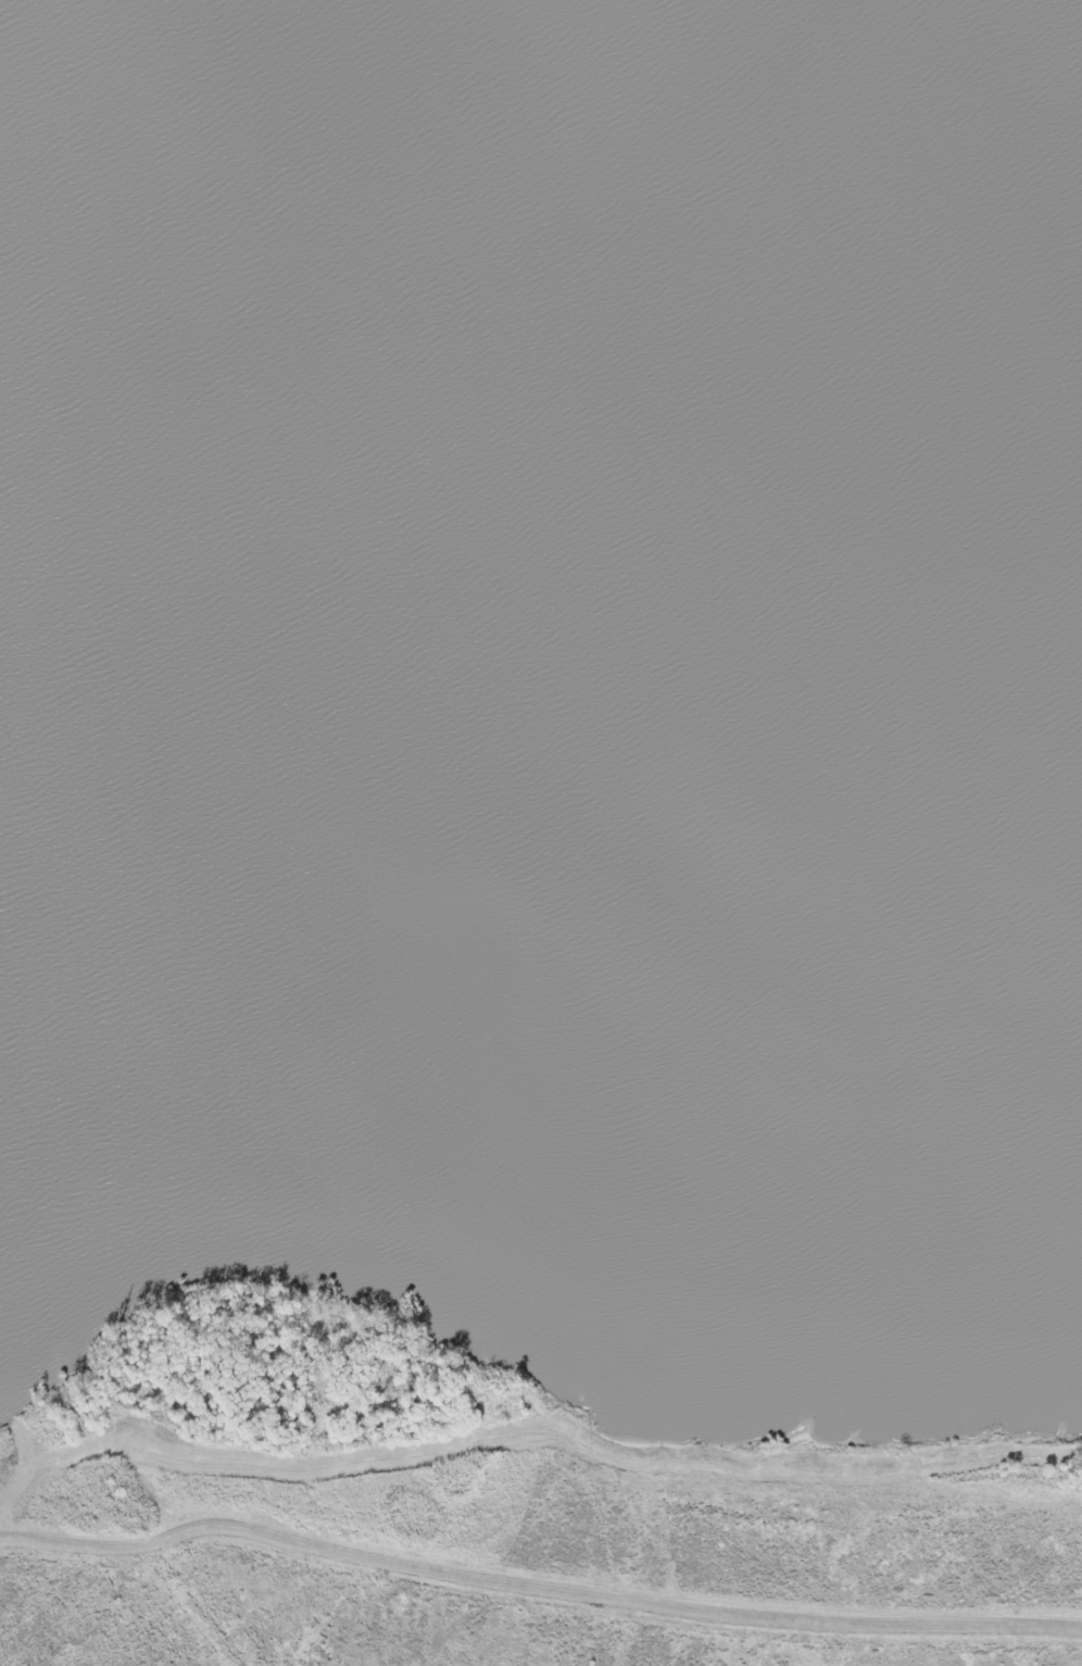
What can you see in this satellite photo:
road: (539, 1576)

